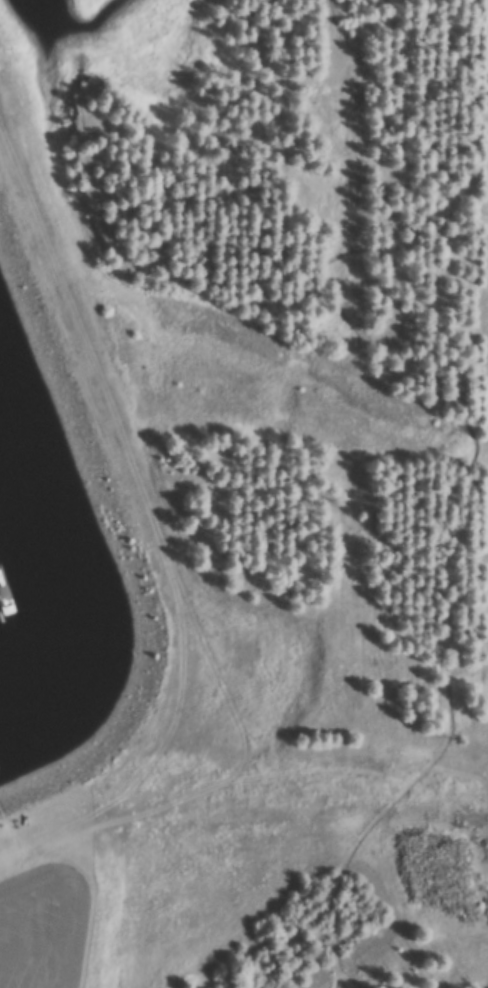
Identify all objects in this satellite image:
road: (434, 45)
road: (452, 175)
road: (423, 389)
park: (277, 508)
road: (75, 898)
parking lot: (45, 927)
road: (36, 945)
road: (331, 974)

